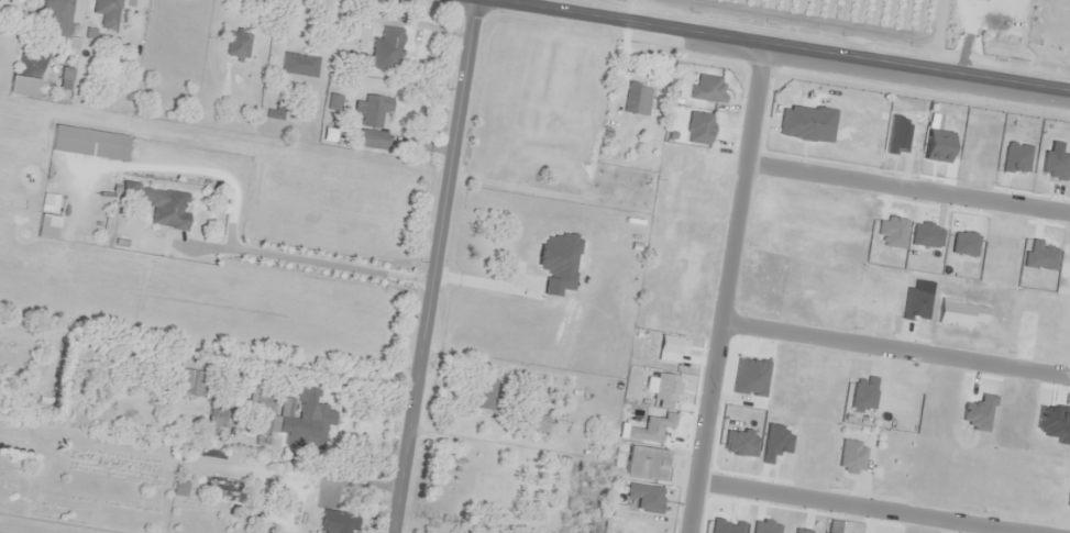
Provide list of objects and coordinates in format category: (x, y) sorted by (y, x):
building: (4, 1)
building: (106, 12)
building: (57, 13)
building: (236, 44)
road: (759, 47)
building: (385, 48)
building: (298, 65)
building: (22, 86)
building: (706, 87)
building: (636, 98)
building: (369, 110)
building: (806, 122)
building: (698, 126)
building: (87, 142)
road: (907, 187)
building: (129, 189)
building: (167, 209)
building: (45, 226)
building: (560, 255)
road: (434, 268)
road: (725, 290)
road: (895, 346)
building: (189, 381)
building: (483, 392)
building: (298, 417)
building: (214, 419)
building: (532, 421)
building: (179, 487)
road: (863, 507)
building: (337, 521)

